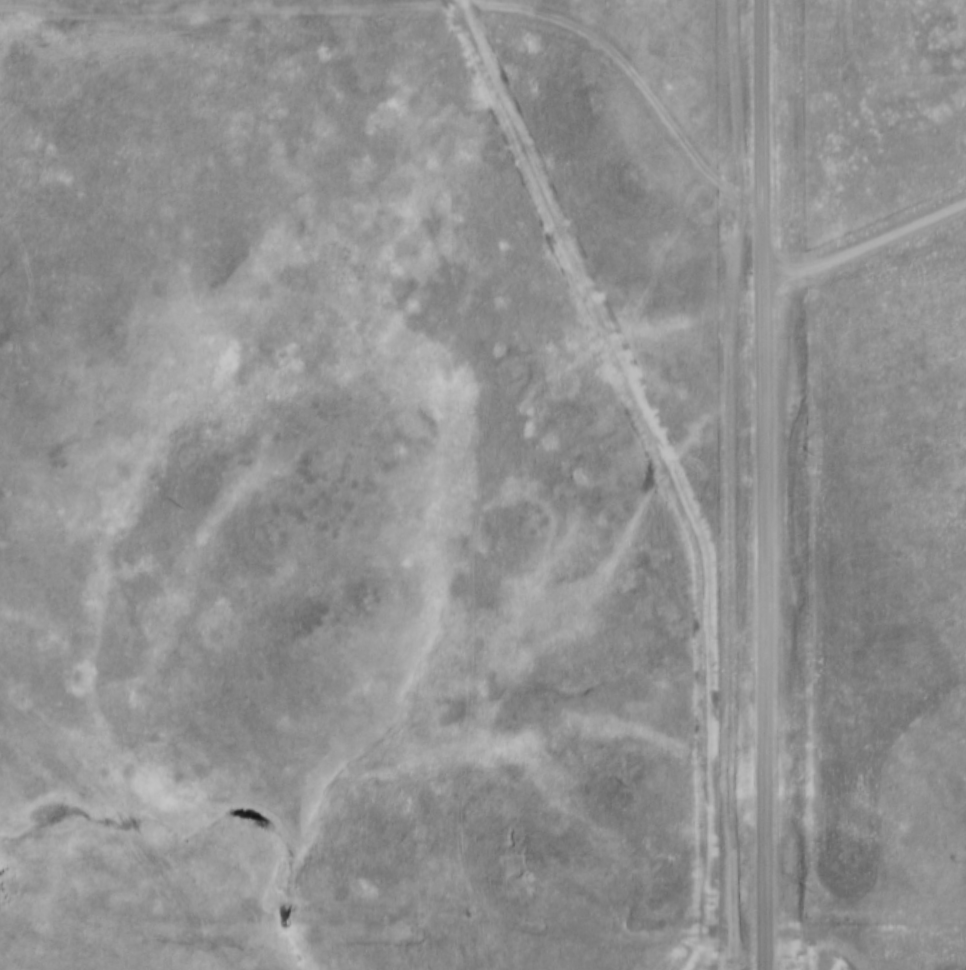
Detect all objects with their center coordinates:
road: (864, 242)
road: (672, 476)
road: (763, 485)

